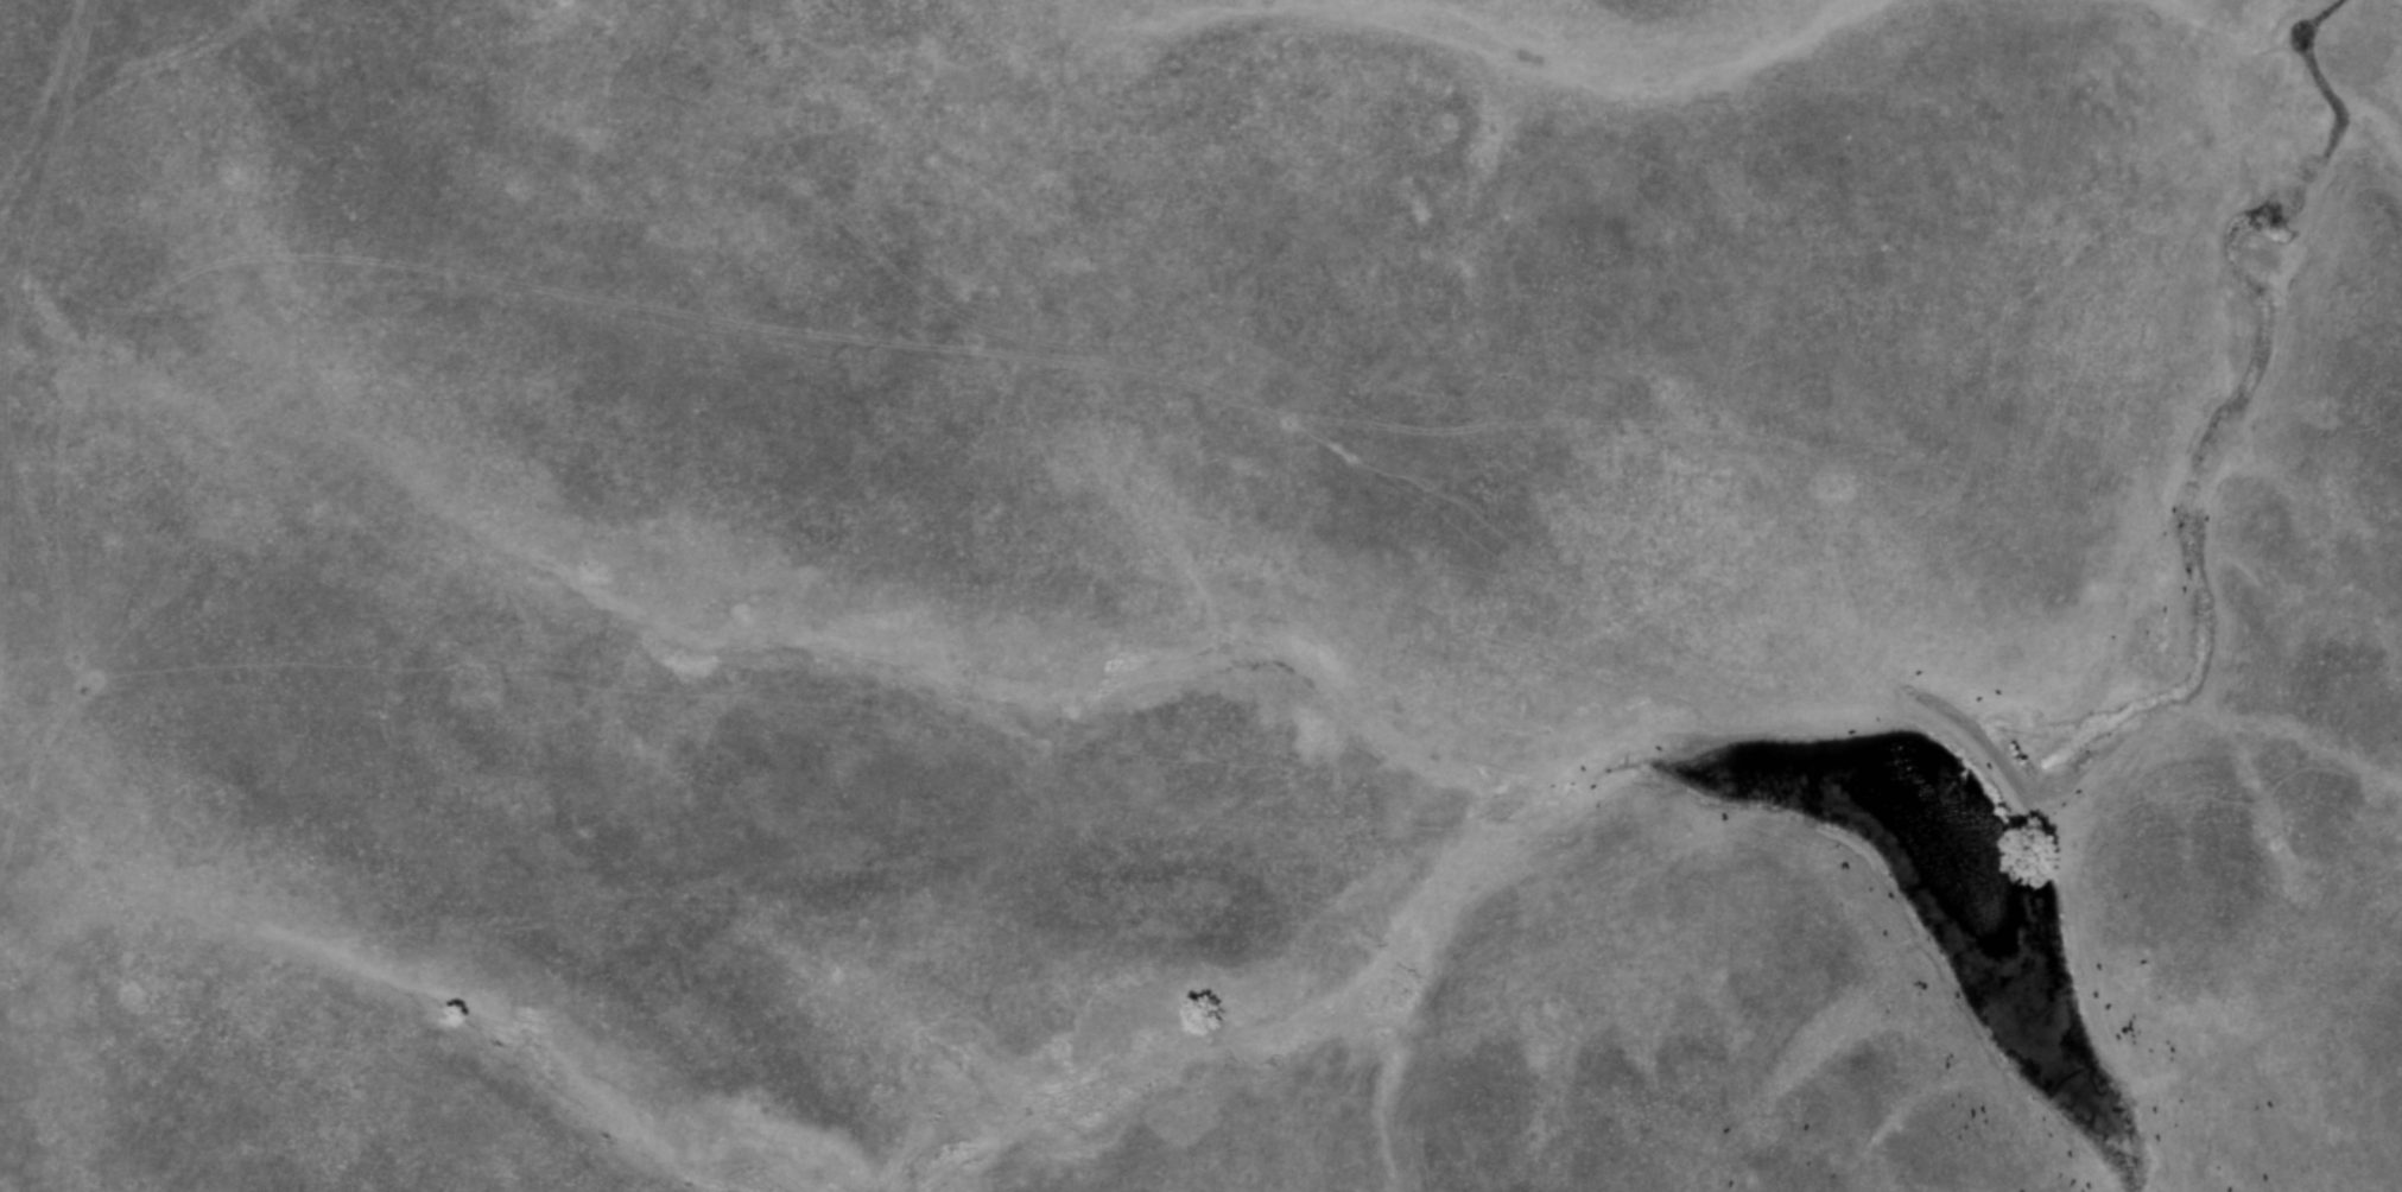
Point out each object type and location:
road: (36, 78)

